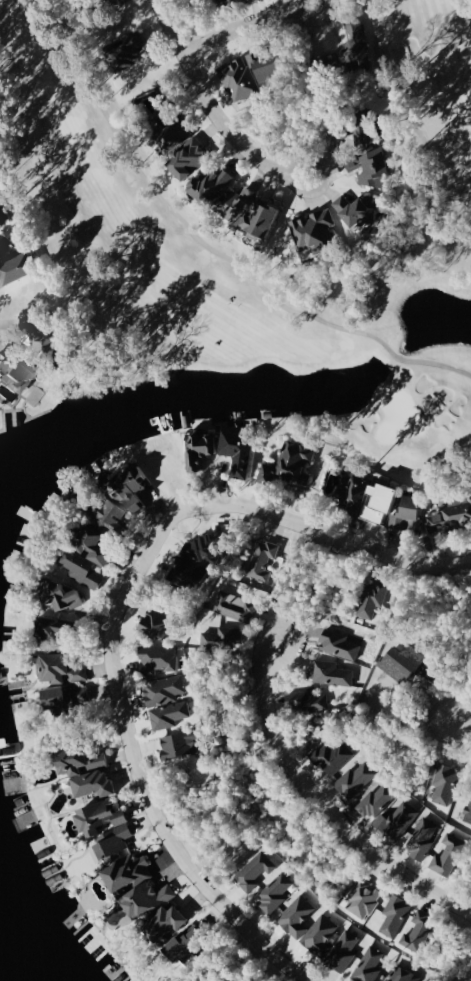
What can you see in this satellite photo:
building: (223, 0)
road: (245, 27)
building: (358, 42)
building: (131, 48)
building: (269, 63)
building: (327, 63)
road: (213, 113)
building: (368, 135)
building: (186, 148)
building: (370, 168)
building: (214, 185)
building: (241, 205)
building: (360, 210)
building: (4, 217)
building: (266, 218)
building: (316, 231)
building: (7, 247)
park: (153, 251)
building: (21, 268)
building: (44, 330)
building: (18, 369)
building: (203, 449)
building: (242, 449)
building: (293, 464)
building: (137, 485)
building: (371, 497)
building: (411, 511)
building: (110, 514)
building: (452, 517)
building: (98, 544)
road: (357, 546)
building: (198, 557)
building: (263, 560)
building: (83, 568)
building: (65, 594)
building: (236, 606)
building: (157, 623)
building: (56, 625)
road: (404, 630)
building: (222, 637)
building: (159, 657)
building: (413, 666)
building: (61, 668)
building: (333, 673)
road: (446, 679)
building: (68, 697)
building: (166, 700)
building: (308, 703)
road: (457, 728)
road: (128, 734)
building: (181, 743)
building: (334, 755)
building: (89, 769)
building: (356, 779)
building: (446, 783)
road: (319, 802)
building: (468, 811)
building: (402, 818)
building: (108, 827)
building: (423, 838)
building: (449, 854)
building: (255, 870)
building: (130, 871)
building: (275, 892)
building: (150, 898)
building: (363, 898)
building: (395, 914)
building: (297, 916)
building: (169, 921)
building: (419, 931)
building: (317, 943)
building: (189, 944)
building: (369, 965)
road: (467, 971)
building: (402, 974)

